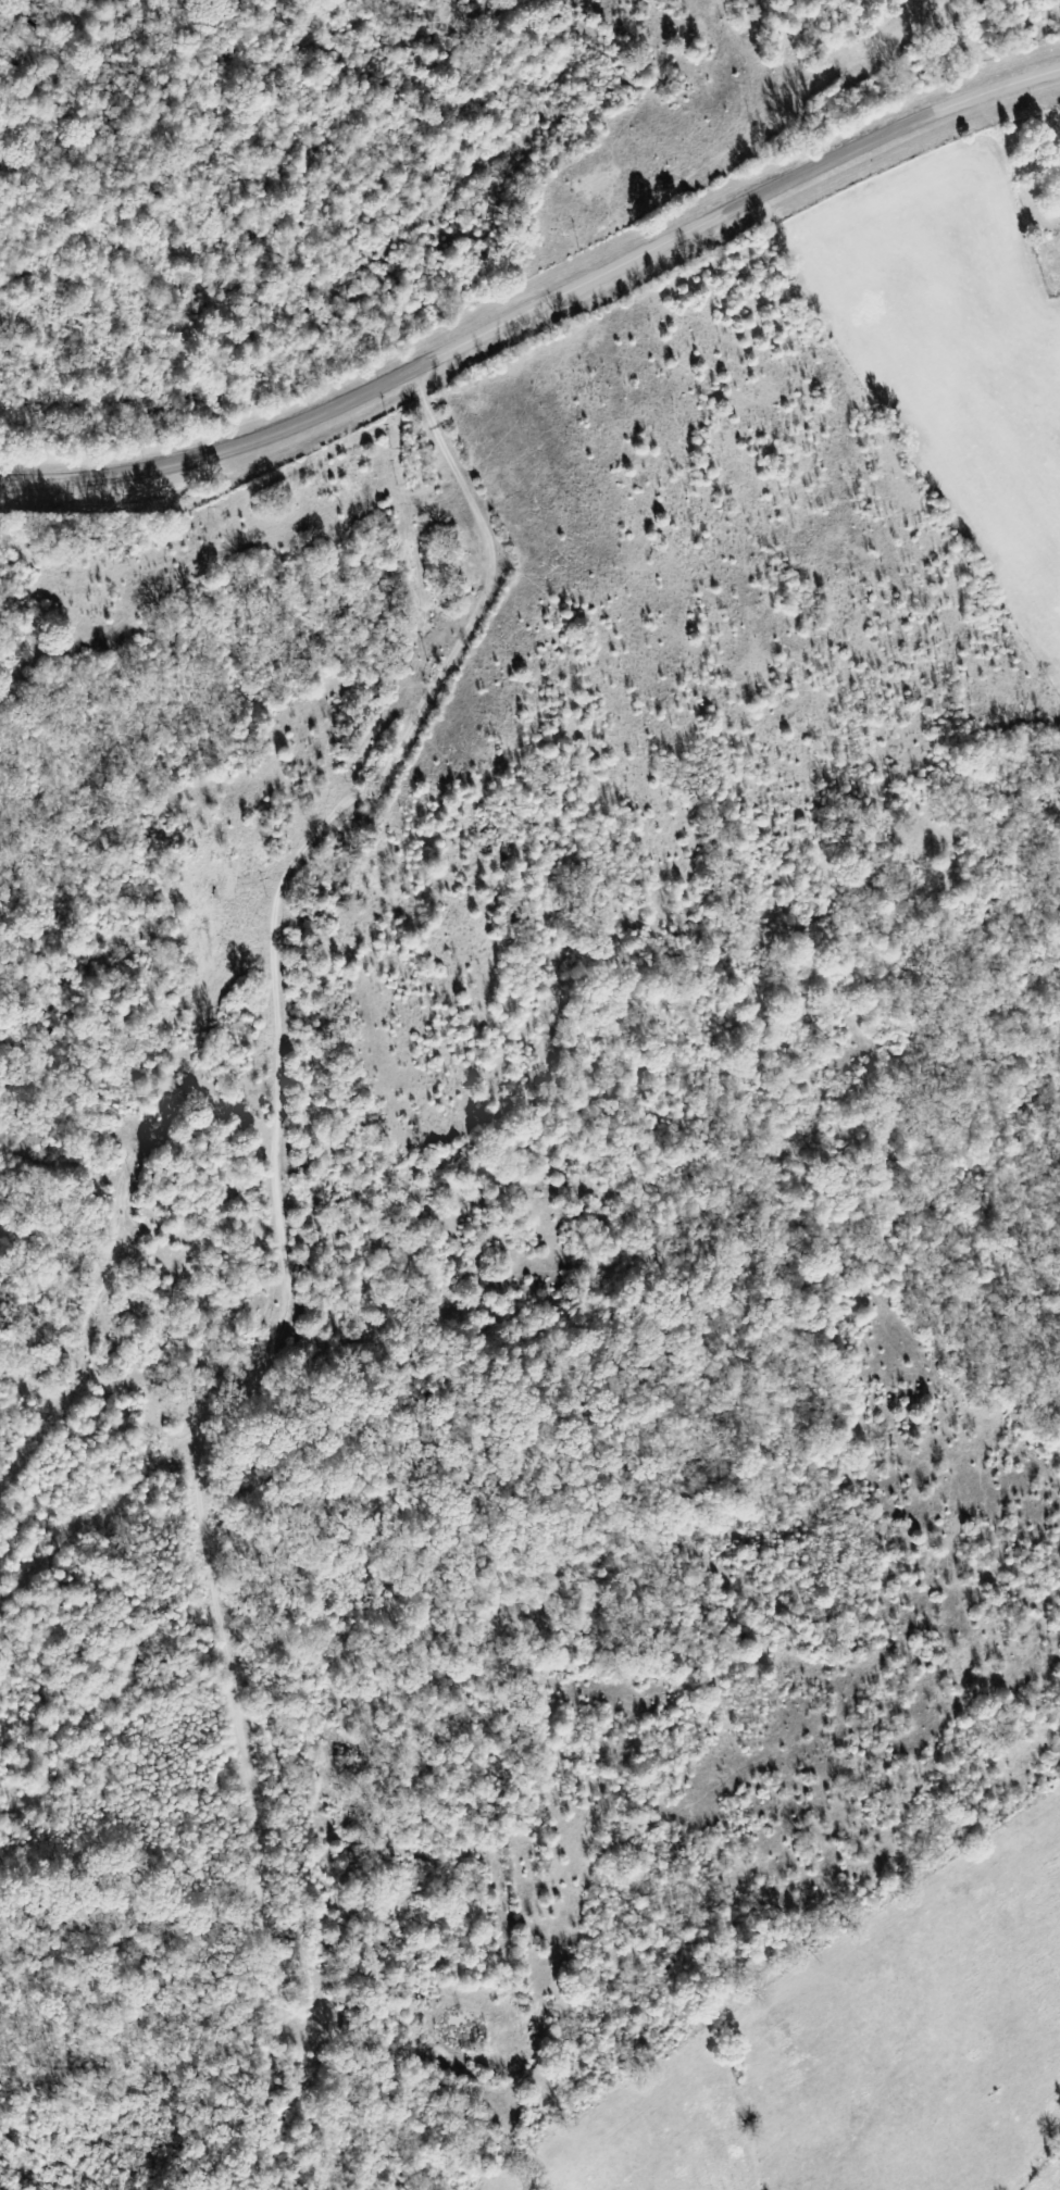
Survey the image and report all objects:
road: (833, 83)
road: (538, 308)

